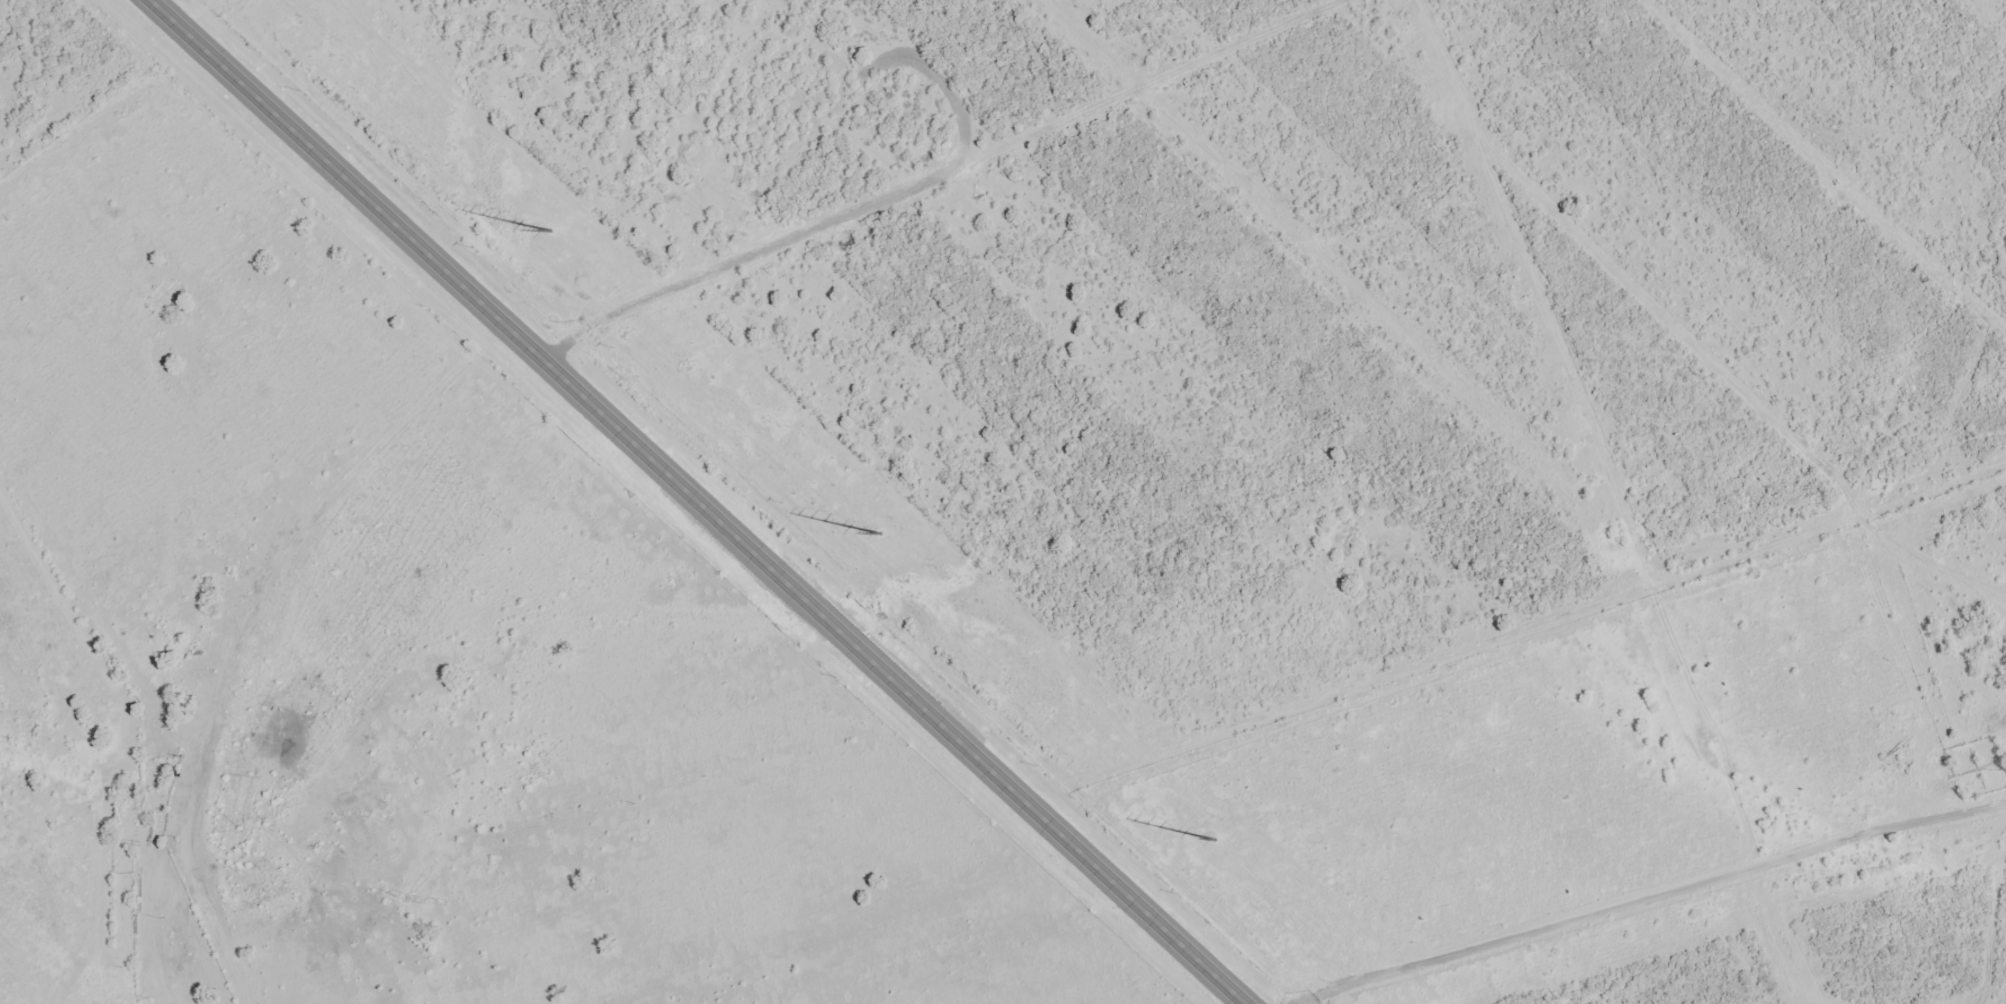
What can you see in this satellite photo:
power tower: (1452, 108)
power tower: (550, 231)
power tower: (1583, 426)
road: (694, 501)
power tower: (880, 535)
road: (242, 619)
power tower: (1717, 747)
power tower: (1215, 840)
road: (1670, 904)

